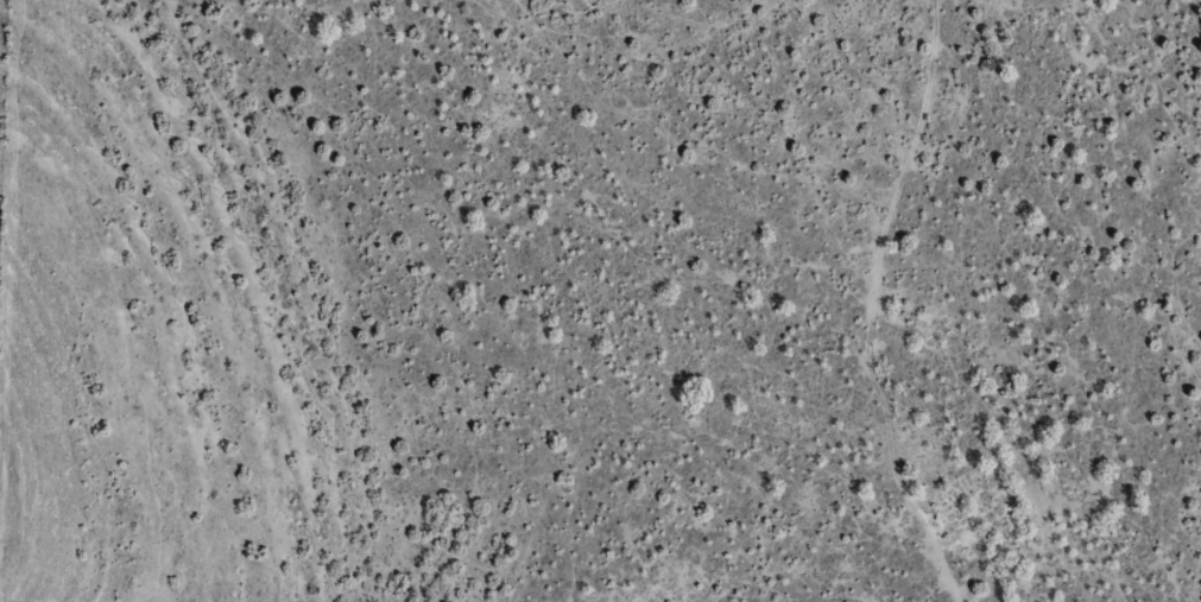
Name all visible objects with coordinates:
road: (904, 302)

